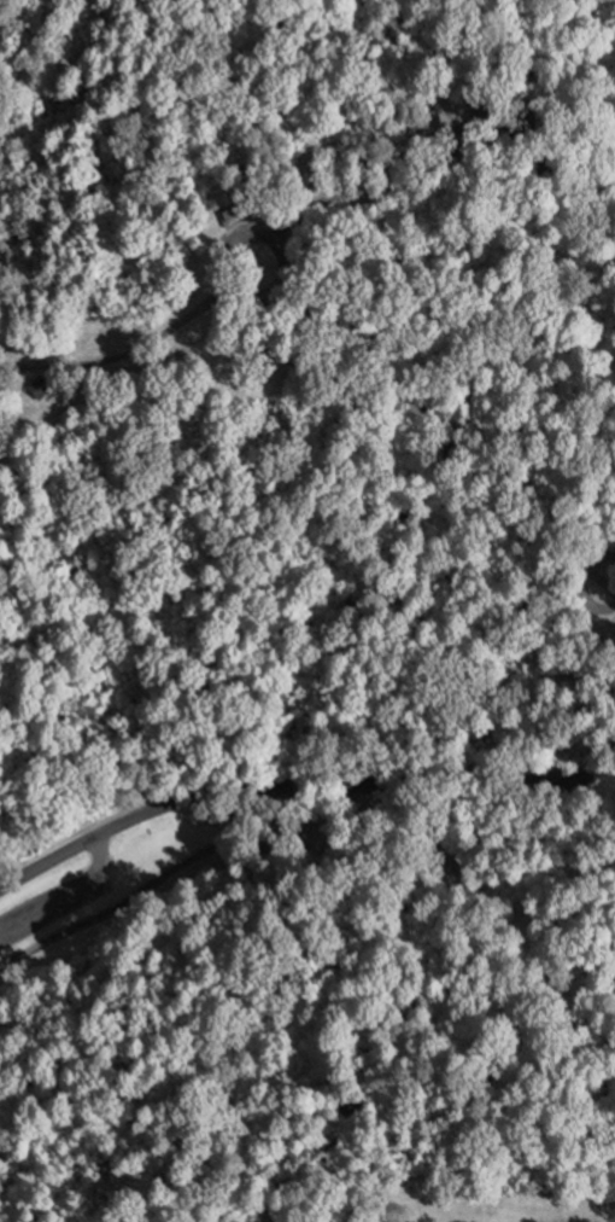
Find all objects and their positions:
road: (573, 122)
road: (438, 141)
road: (227, 281)
road: (124, 353)
building: (39, 390)
road: (492, 449)
road: (295, 786)
road: (70, 897)
parking lot: (59, 901)

